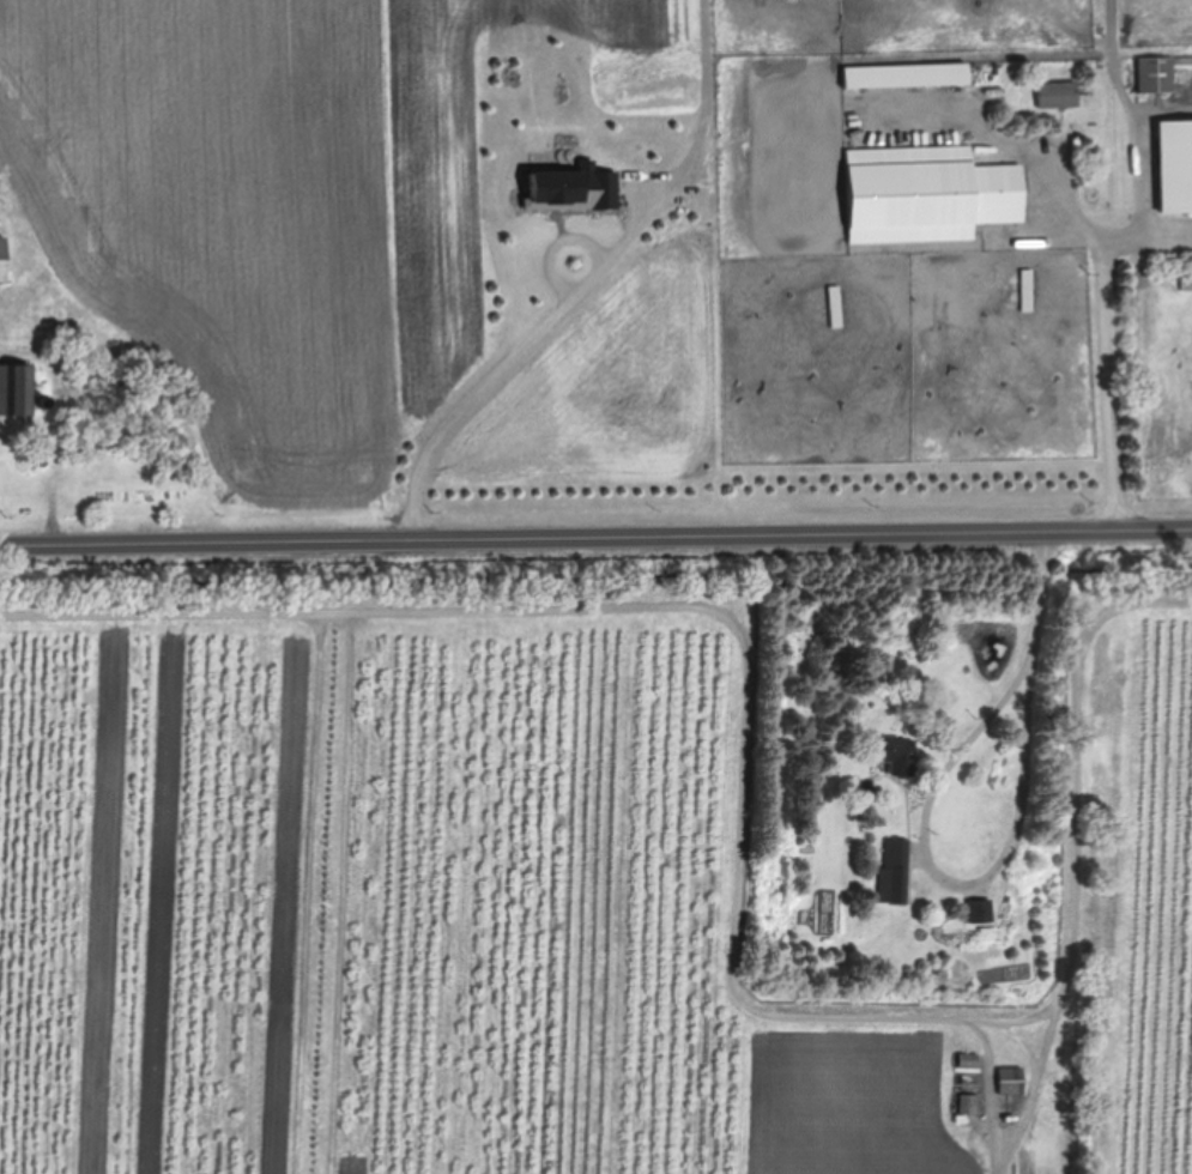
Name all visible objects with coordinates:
building: (1157, 74)
building: (907, 75)
building: (1059, 95)
building: (1176, 165)
building: (928, 195)
building: (4, 260)
building: (1025, 291)
building: (836, 307)
road: (1109, 345)
road: (501, 356)
building: (13, 389)
road: (595, 535)
road: (730, 612)
road: (974, 727)
building: (893, 755)
road: (1085, 855)
building: (895, 871)
building: (980, 909)
building: (970, 1061)
building: (1013, 1081)
building: (972, 1105)

